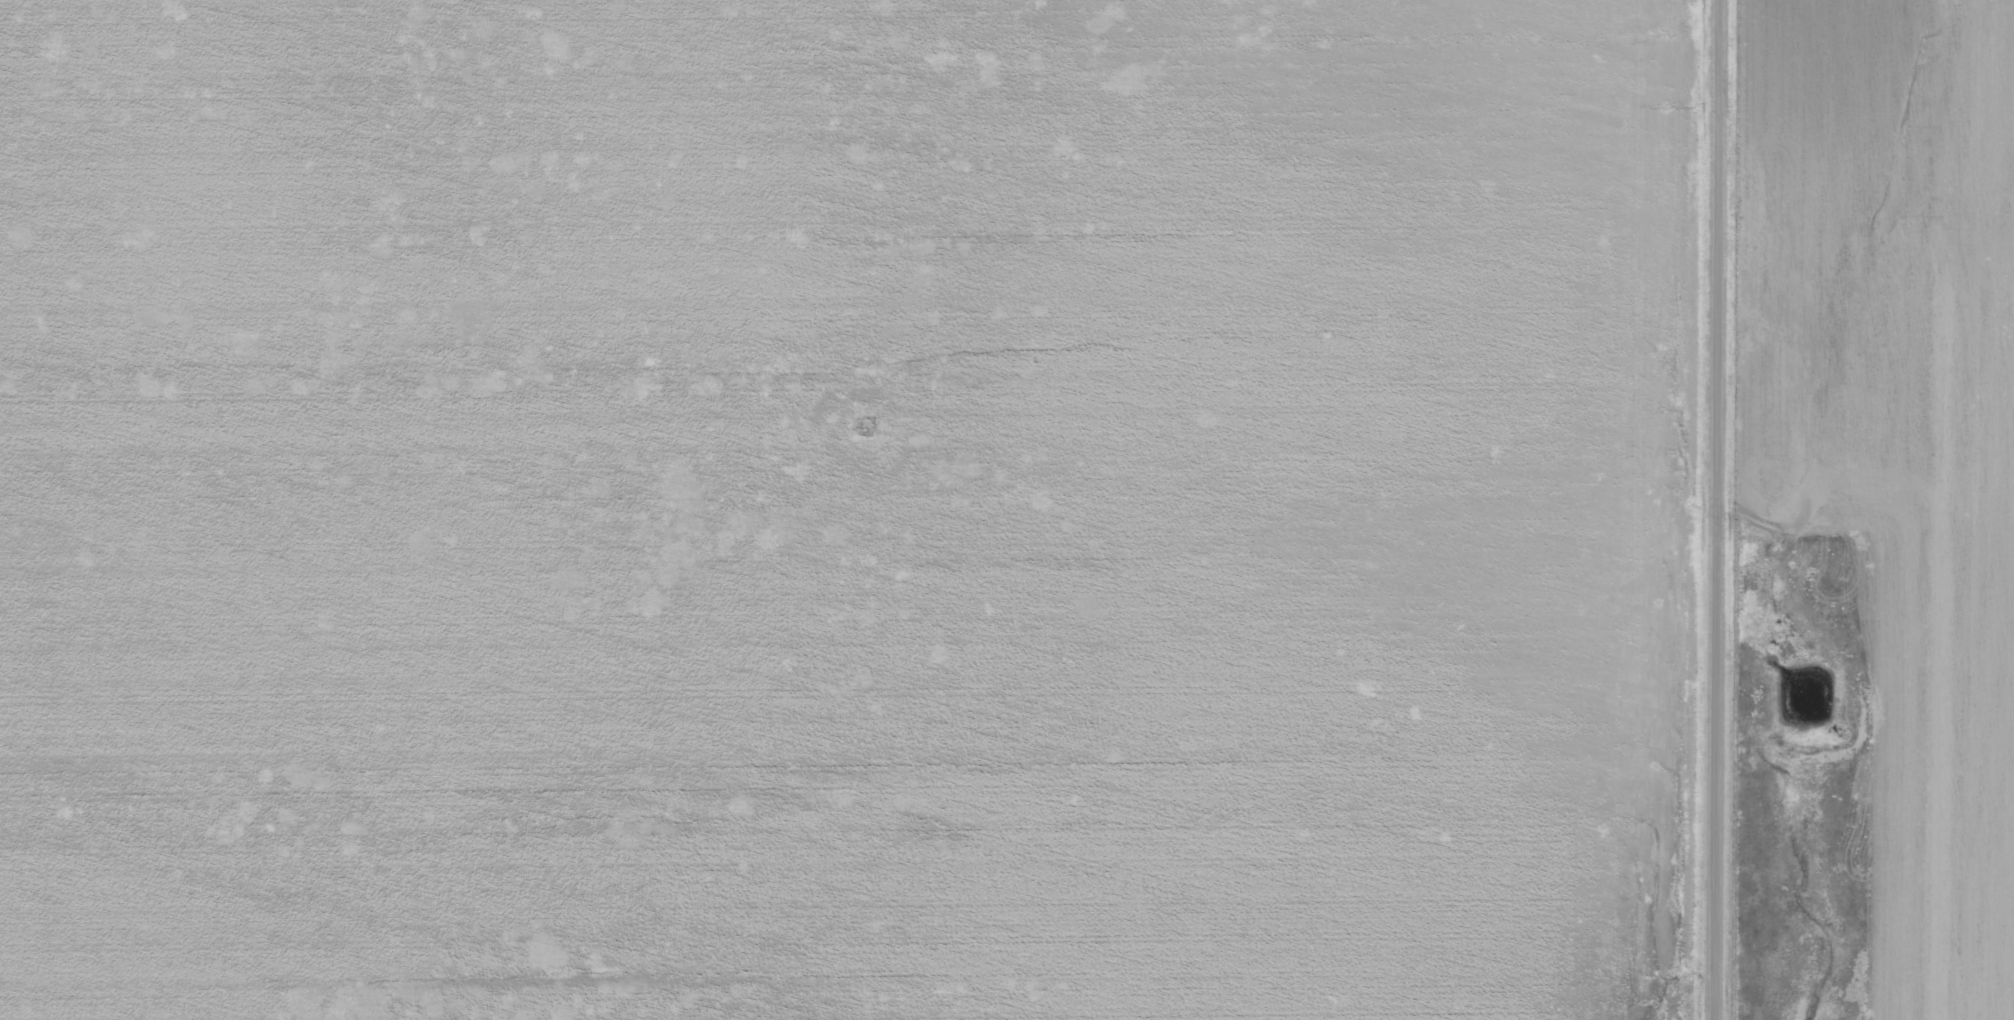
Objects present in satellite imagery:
road: (1716, 510)

